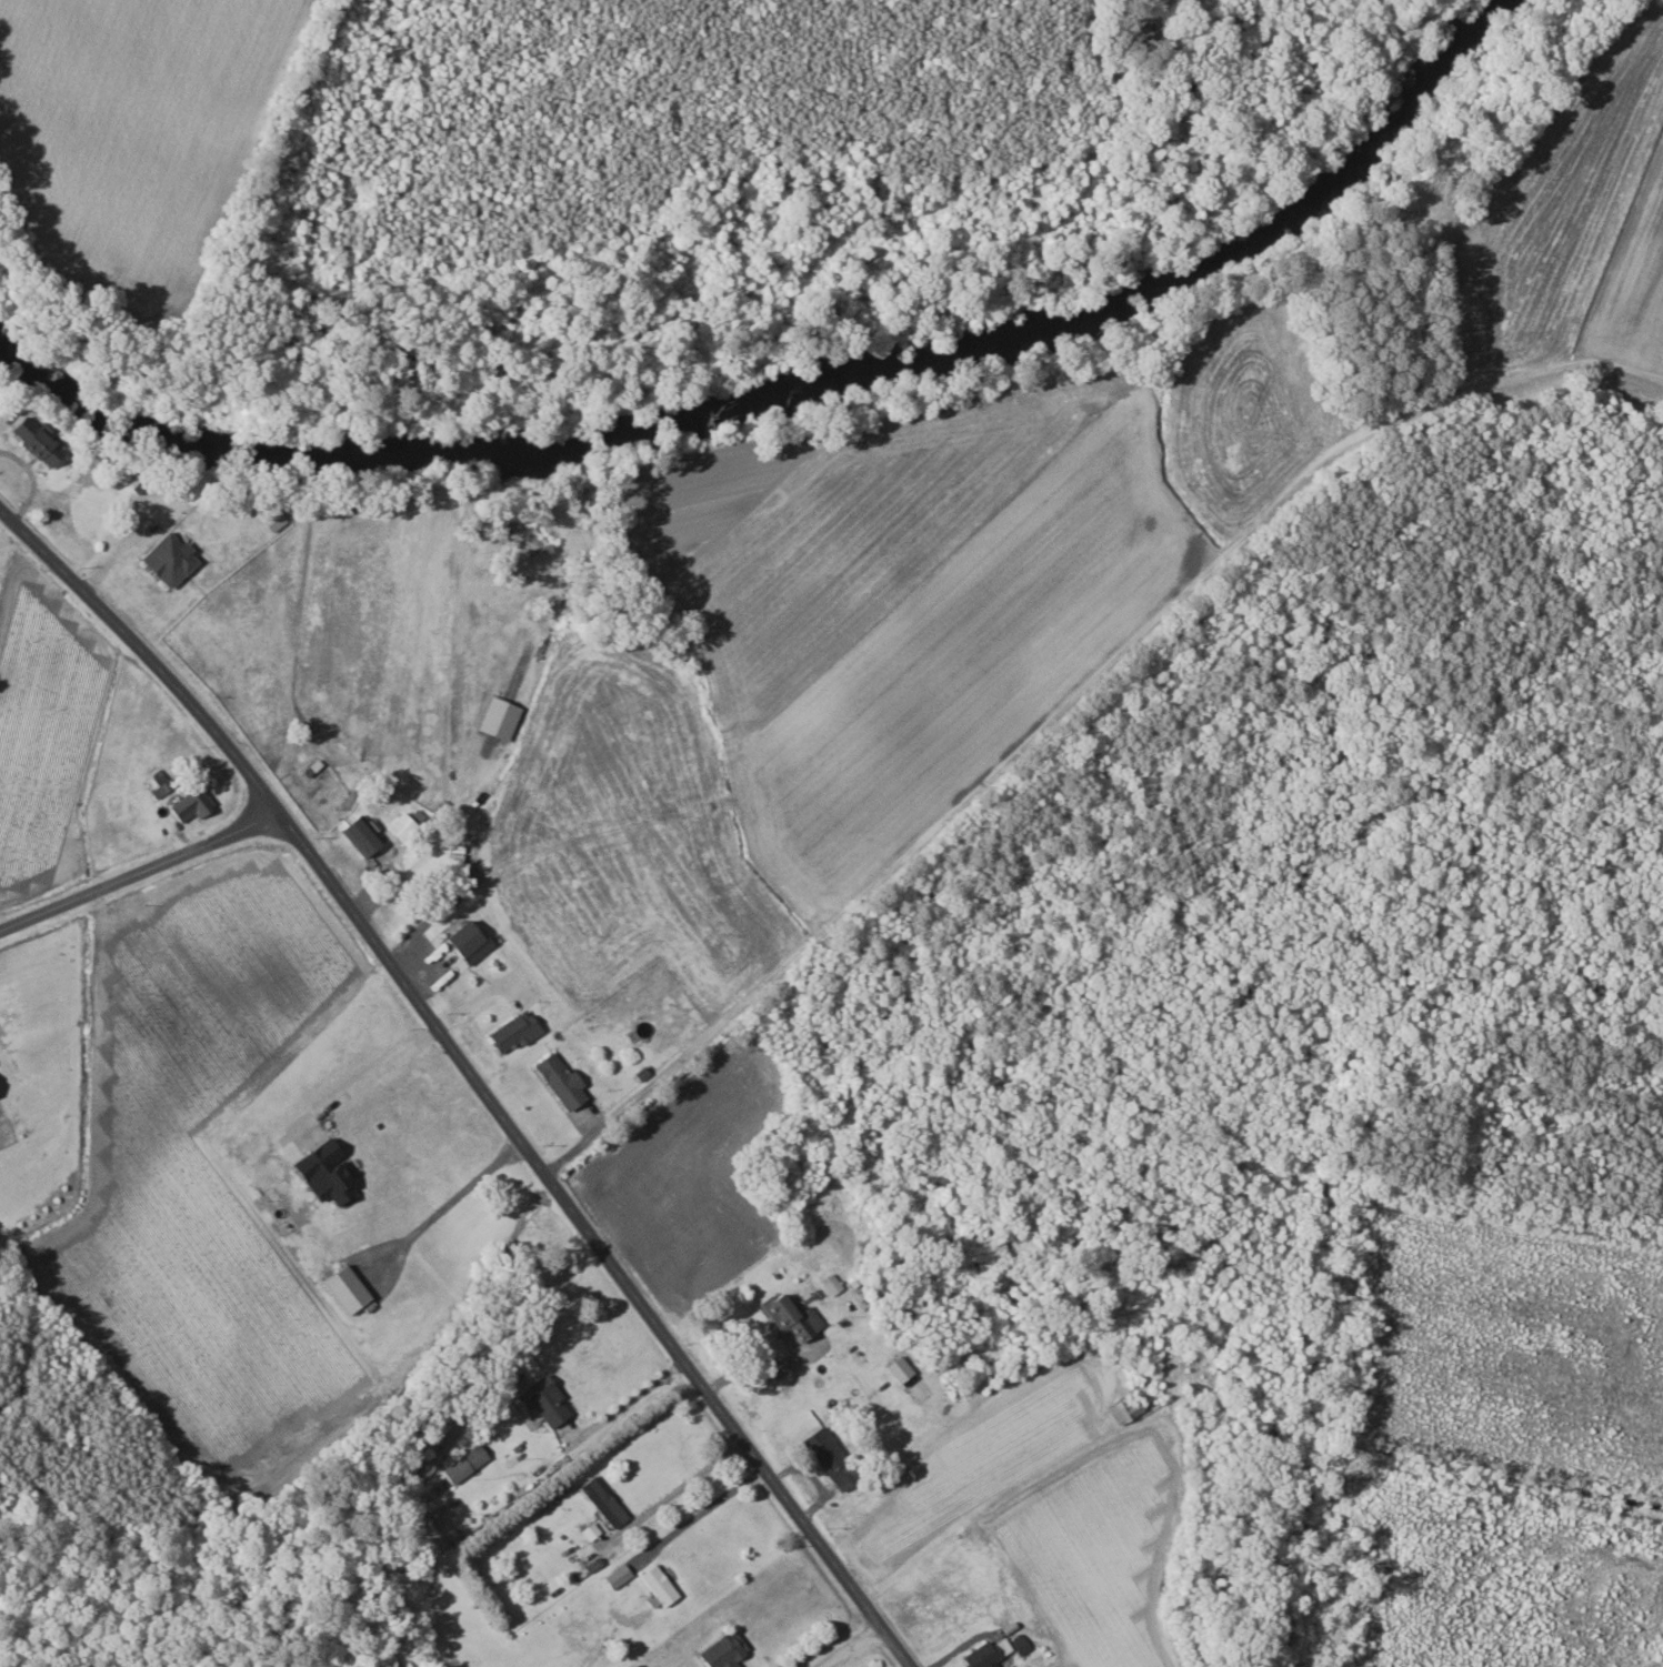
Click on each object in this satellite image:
river: (1340, 162)
river: (63, 376)
river: (645, 429)
building: (41, 440)
building: (173, 558)
building: (504, 716)
building: (192, 806)
building: (408, 829)
building: (364, 835)
road: (140, 872)
building: (472, 941)
building: (518, 1030)
road: (361, 1077)
road: (469, 1078)
building: (565, 1081)
building: (0, 1097)
building: (331, 1171)
road: (440, 1204)
building: (834, 1284)
building: (351, 1288)
building: (794, 1315)
building: (903, 1368)
road: (765, 1370)
building: (549, 1399)
road: (620, 1399)
building: (1130, 1409)
building: (835, 1457)
building: (468, 1462)
building: (607, 1499)
building: (620, 1575)
building: (1023, 1643)
road: (849, 1647)
building: (990, 1653)
building: (642, 1665)

